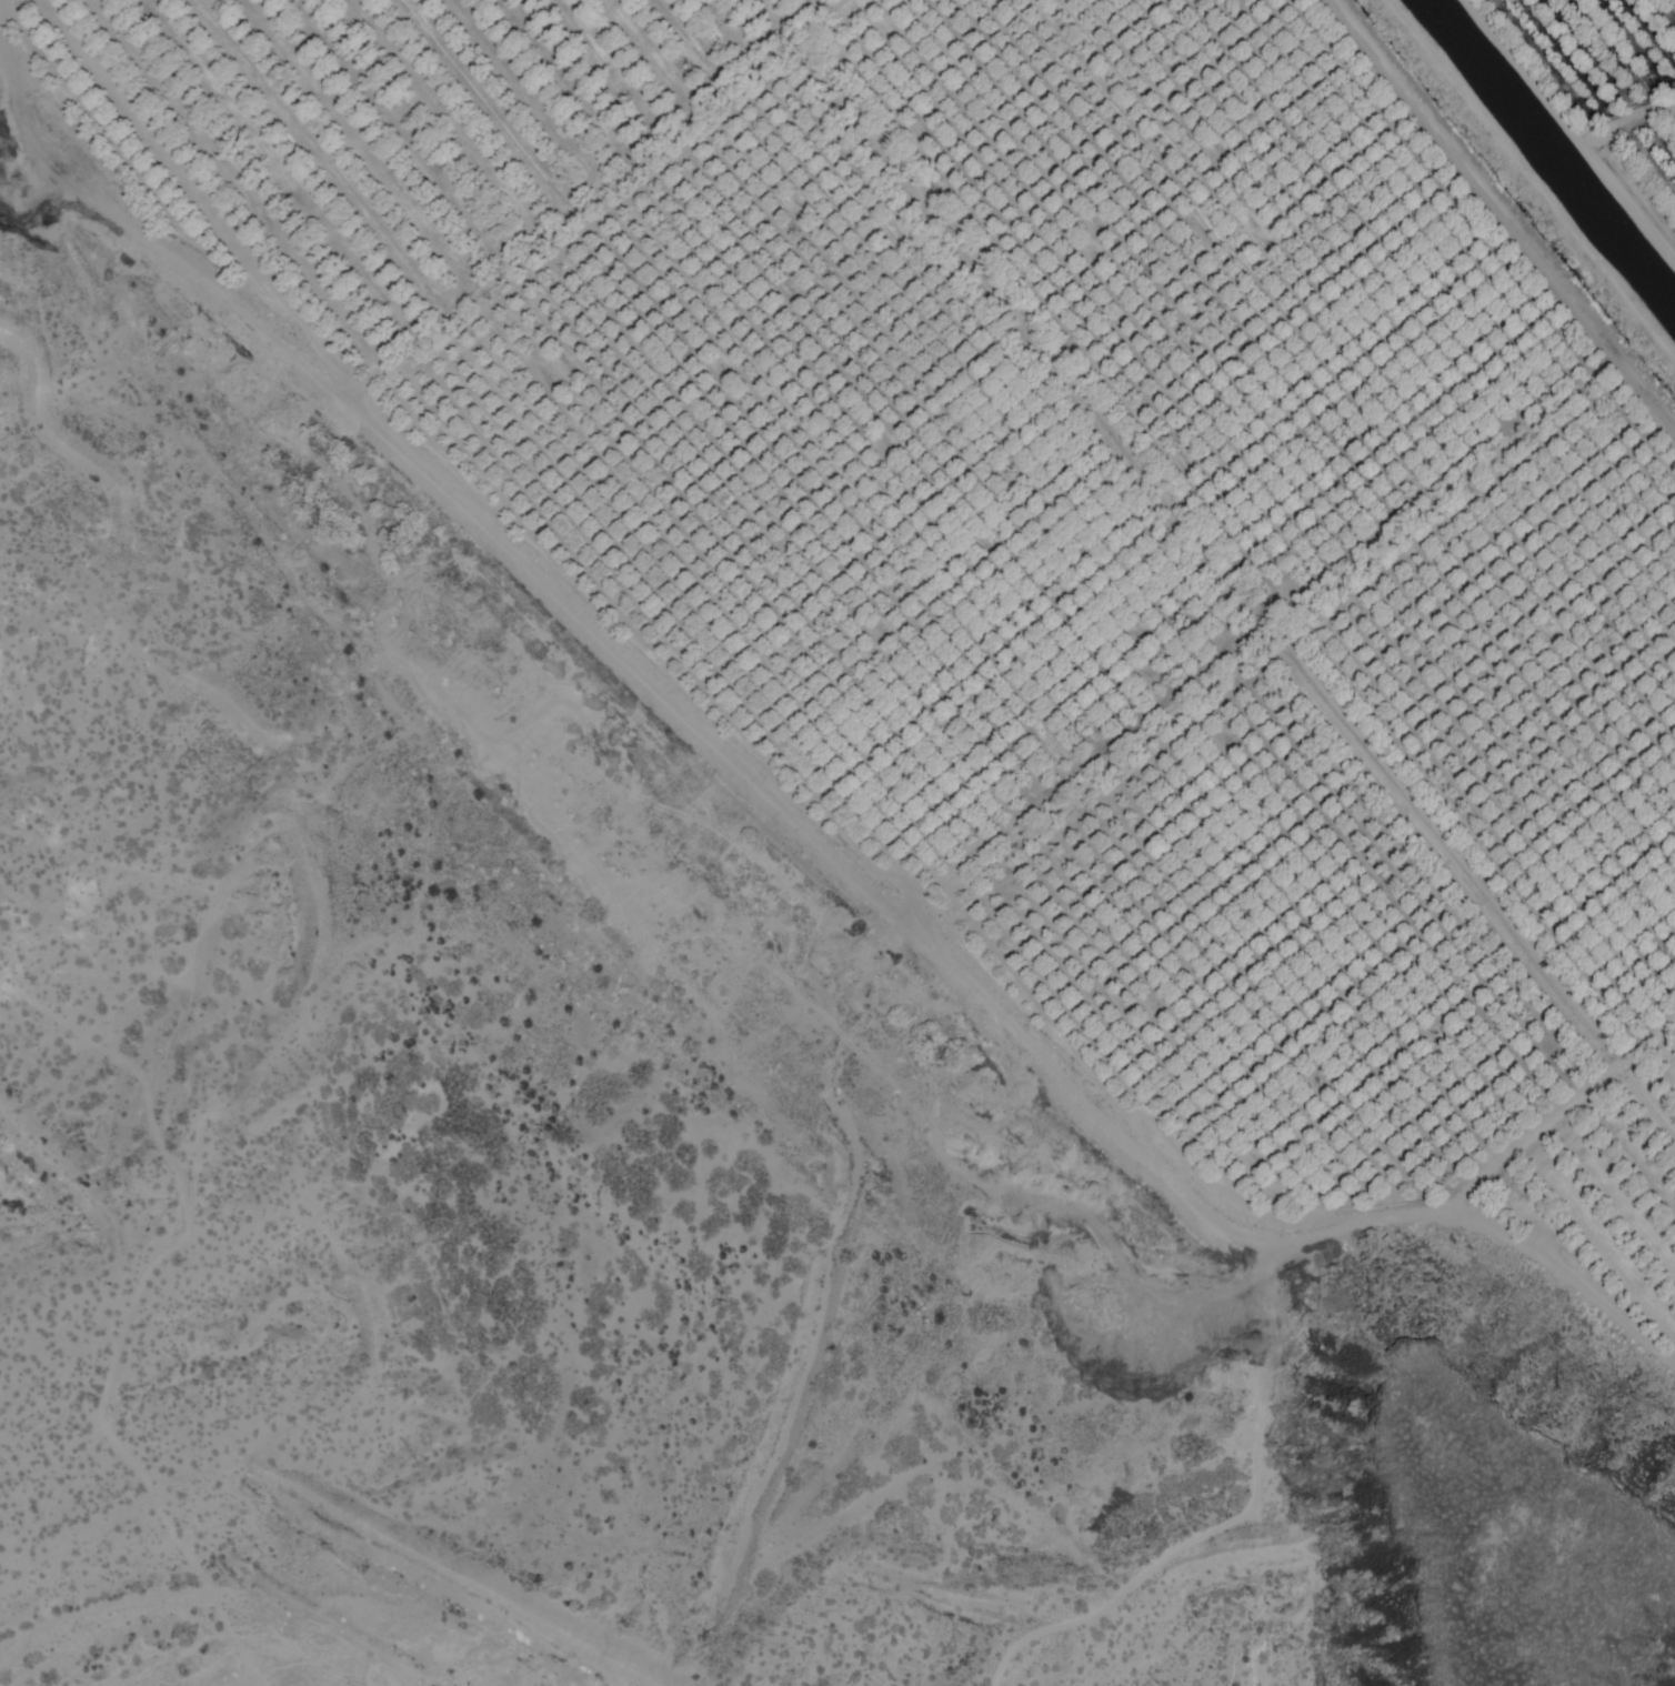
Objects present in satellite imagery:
road: (1571, 130)
road: (1529, 181)
road: (1504, 214)

